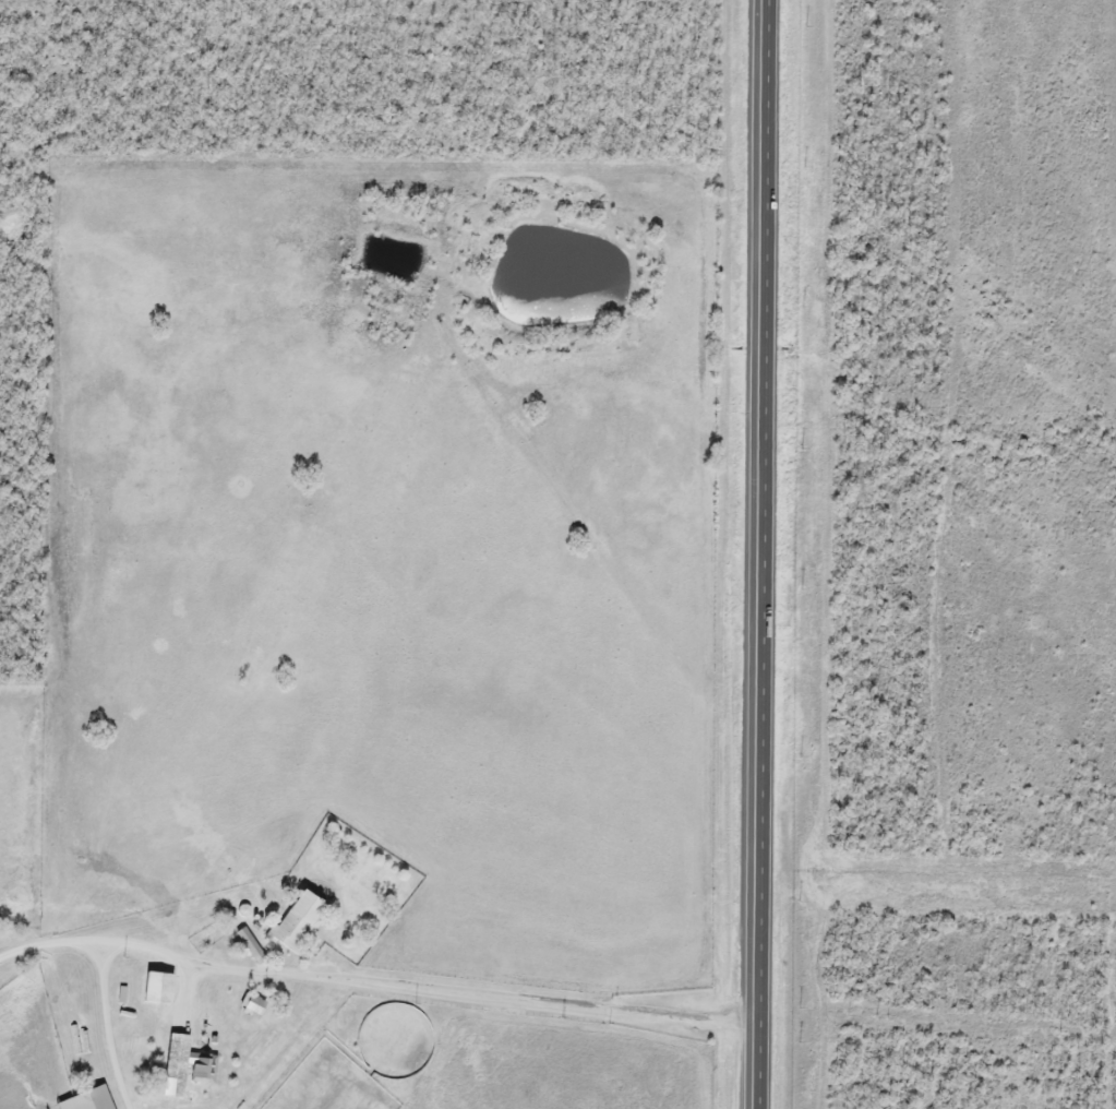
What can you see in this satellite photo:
road: (763, 553)
building: (296, 923)
road: (137, 939)
building: (155, 990)
road: (518, 990)
building: (250, 1005)
building: (182, 1068)
building: (85, 1100)

